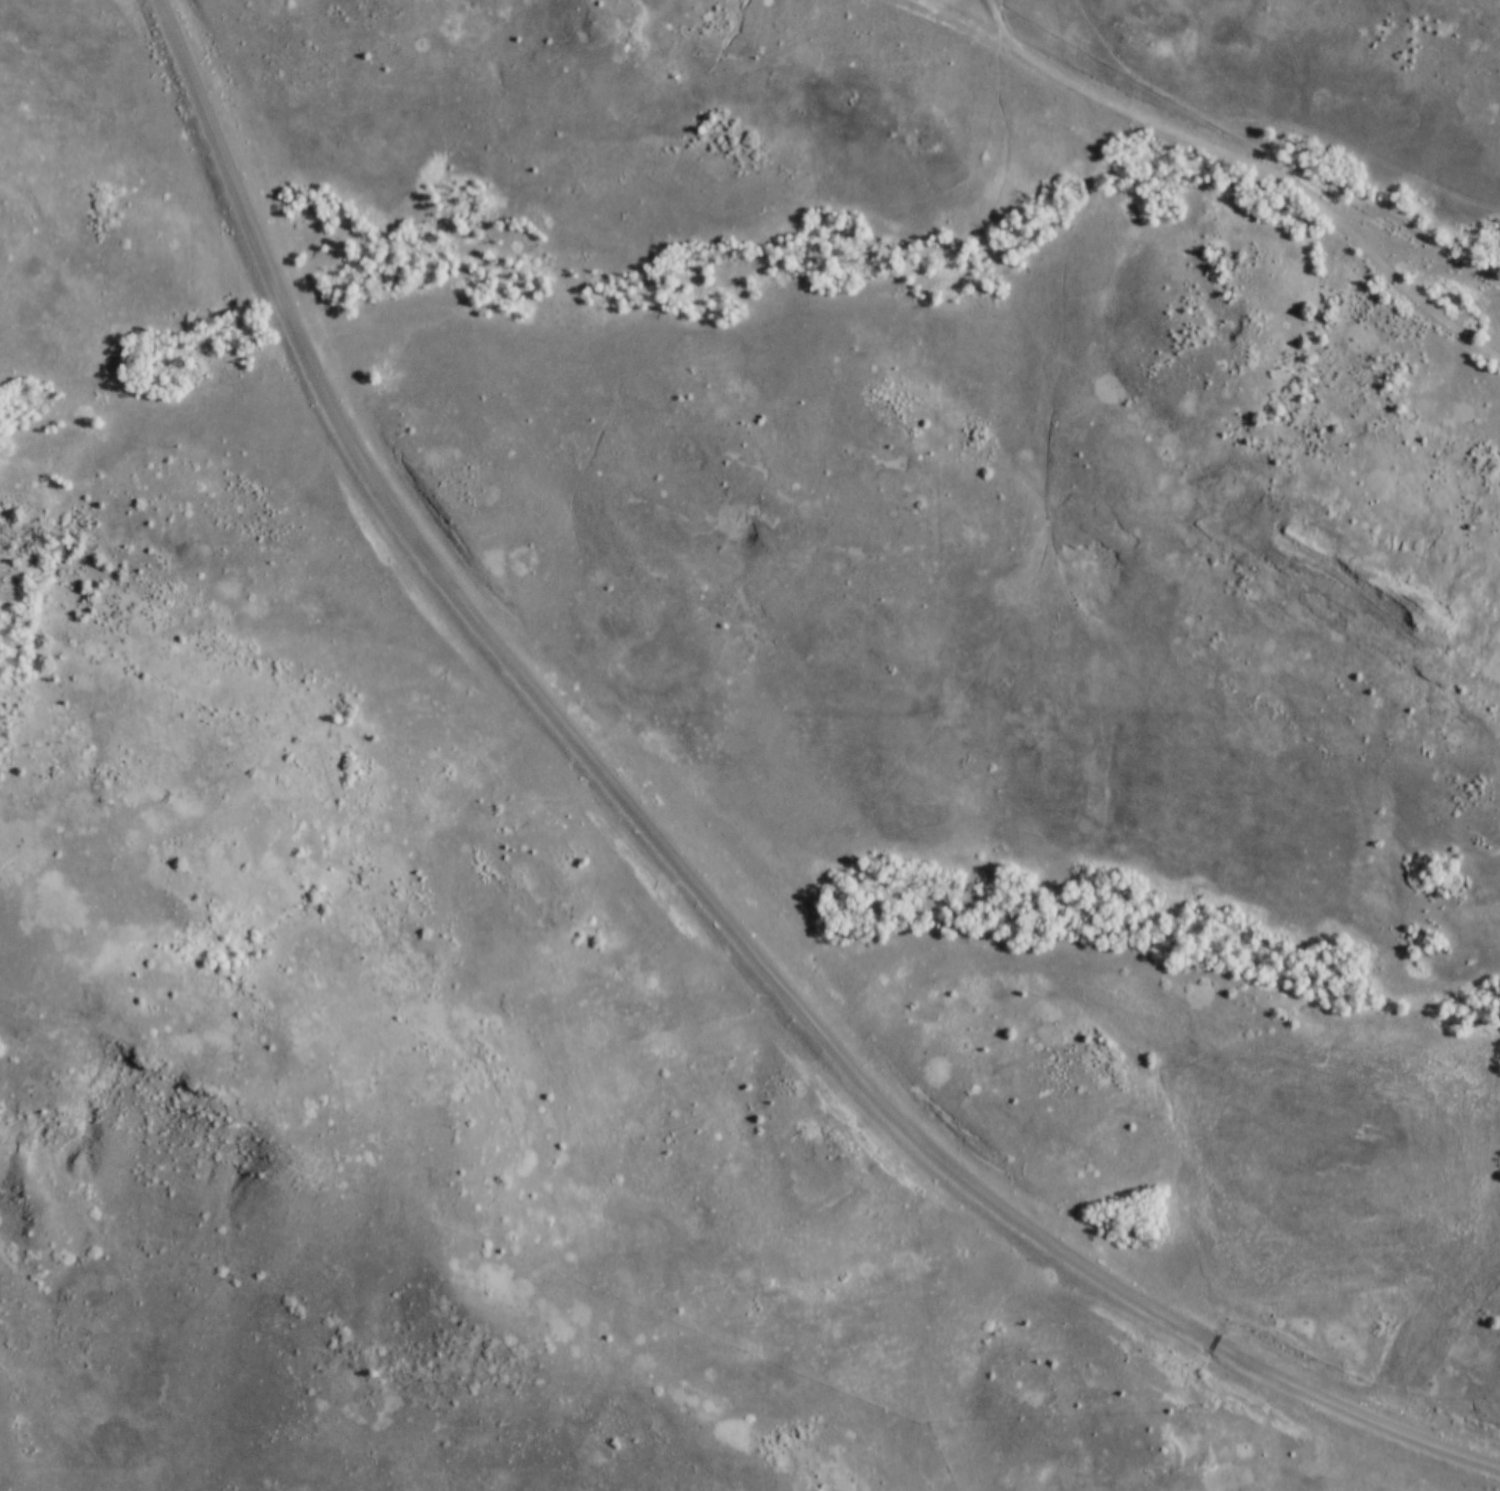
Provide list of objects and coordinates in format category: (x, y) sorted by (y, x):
road: (926, 1)
road: (1221, 154)
road: (685, 872)

